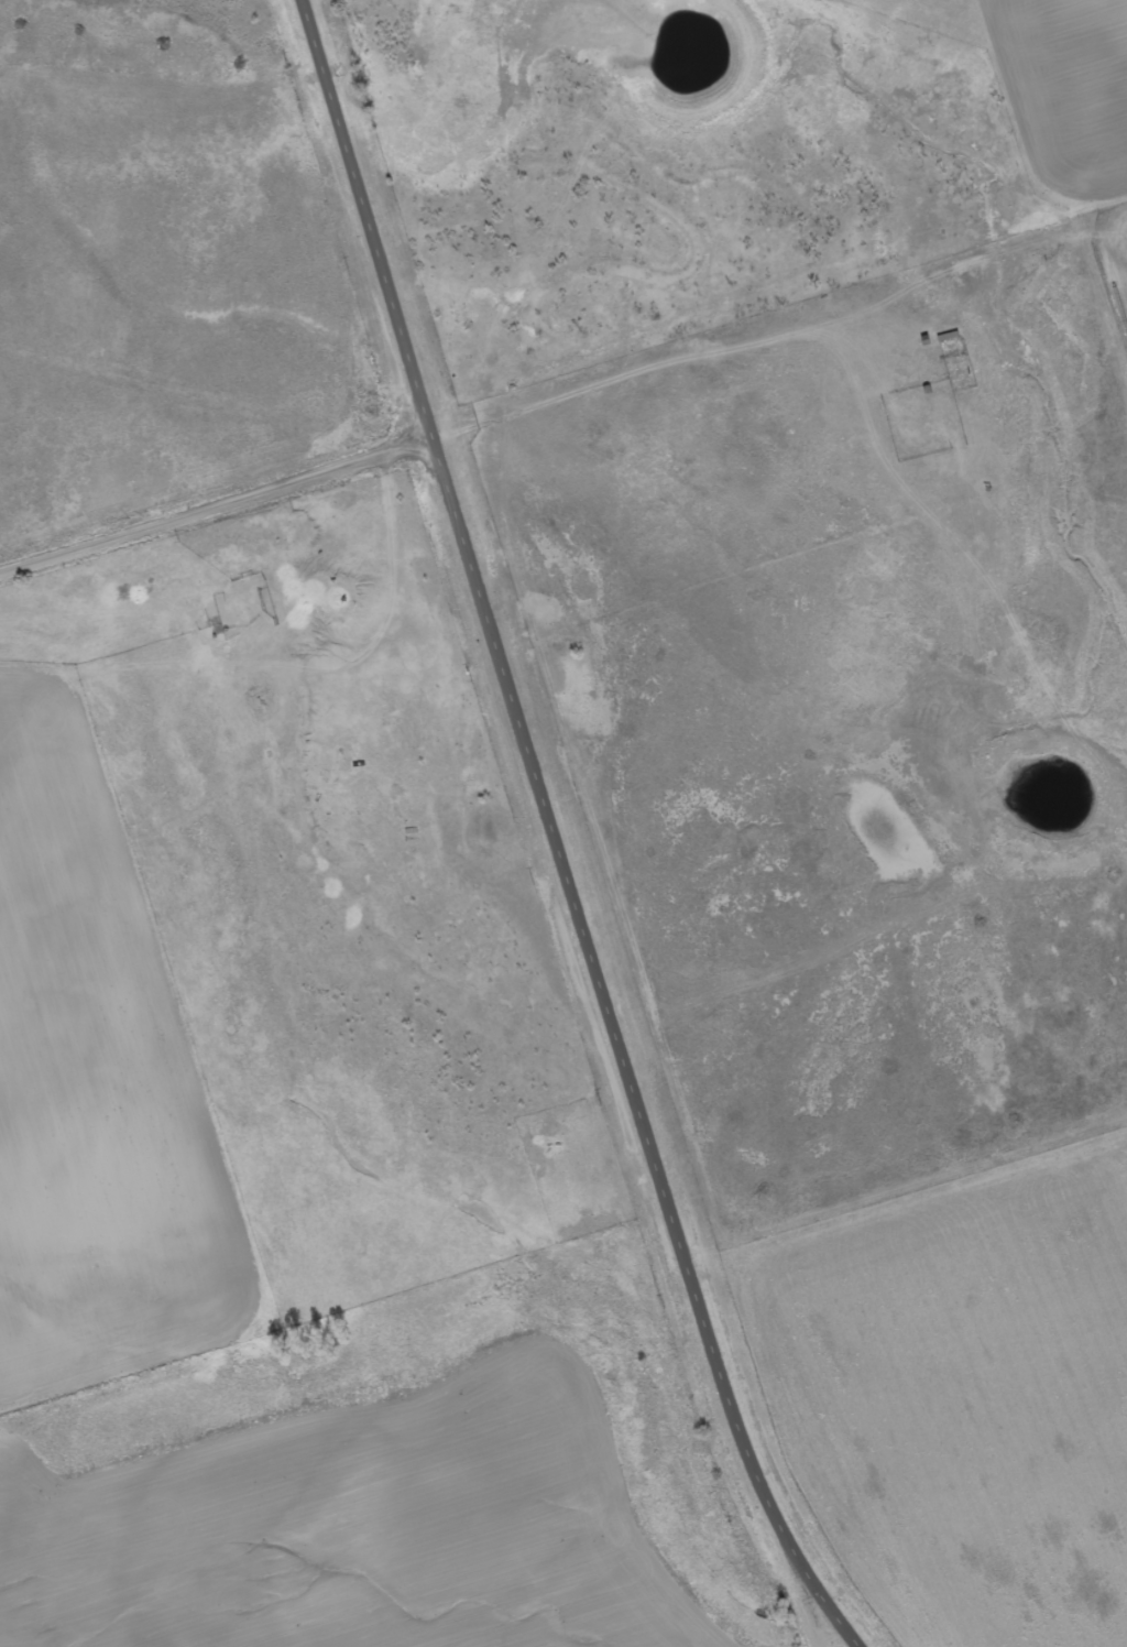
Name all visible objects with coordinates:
road: (217, 508)
road: (555, 833)
road: (811, 1605)

